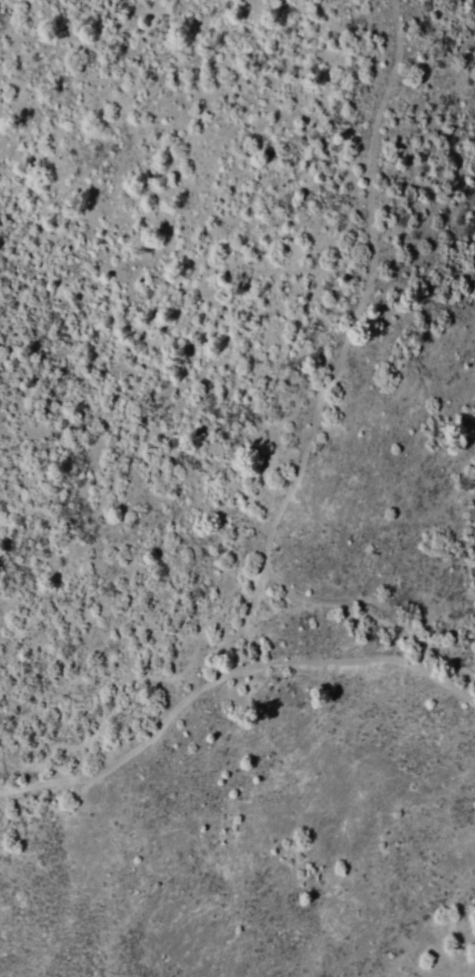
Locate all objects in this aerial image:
road: (301, 472)

